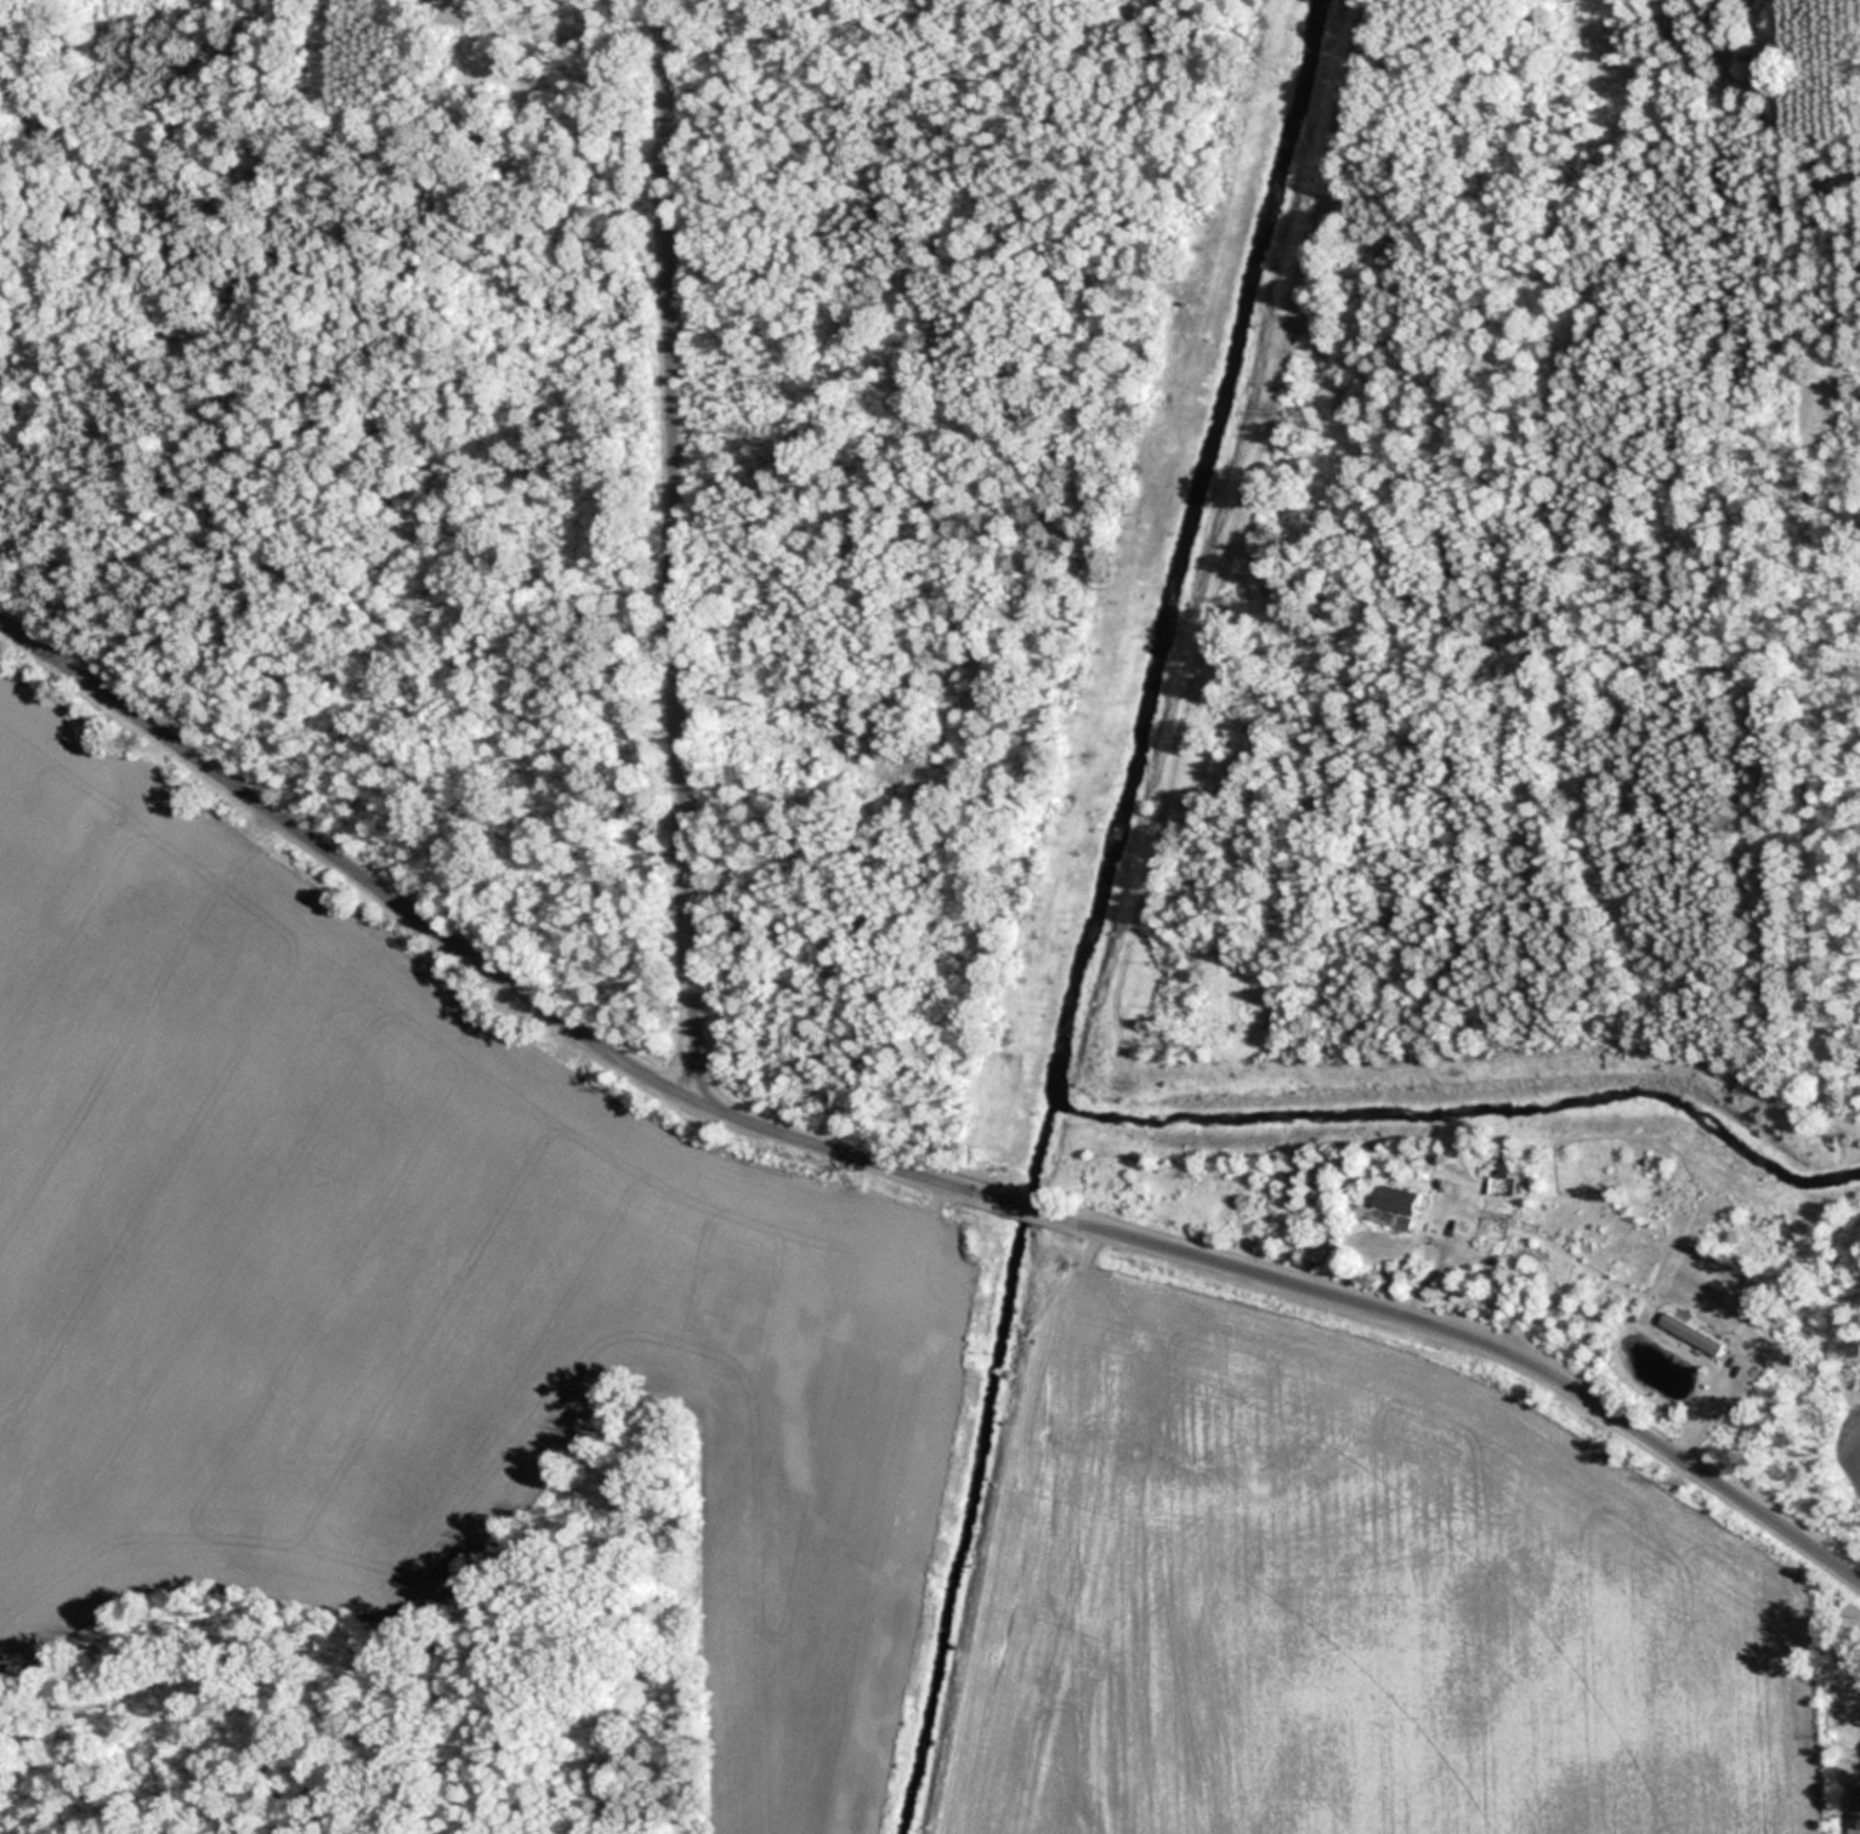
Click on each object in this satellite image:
road: (681, 552)
road: (470, 955)
building: (1390, 1205)
road: (1021, 1206)
building: (1702, 1335)
road: (1484, 1341)

